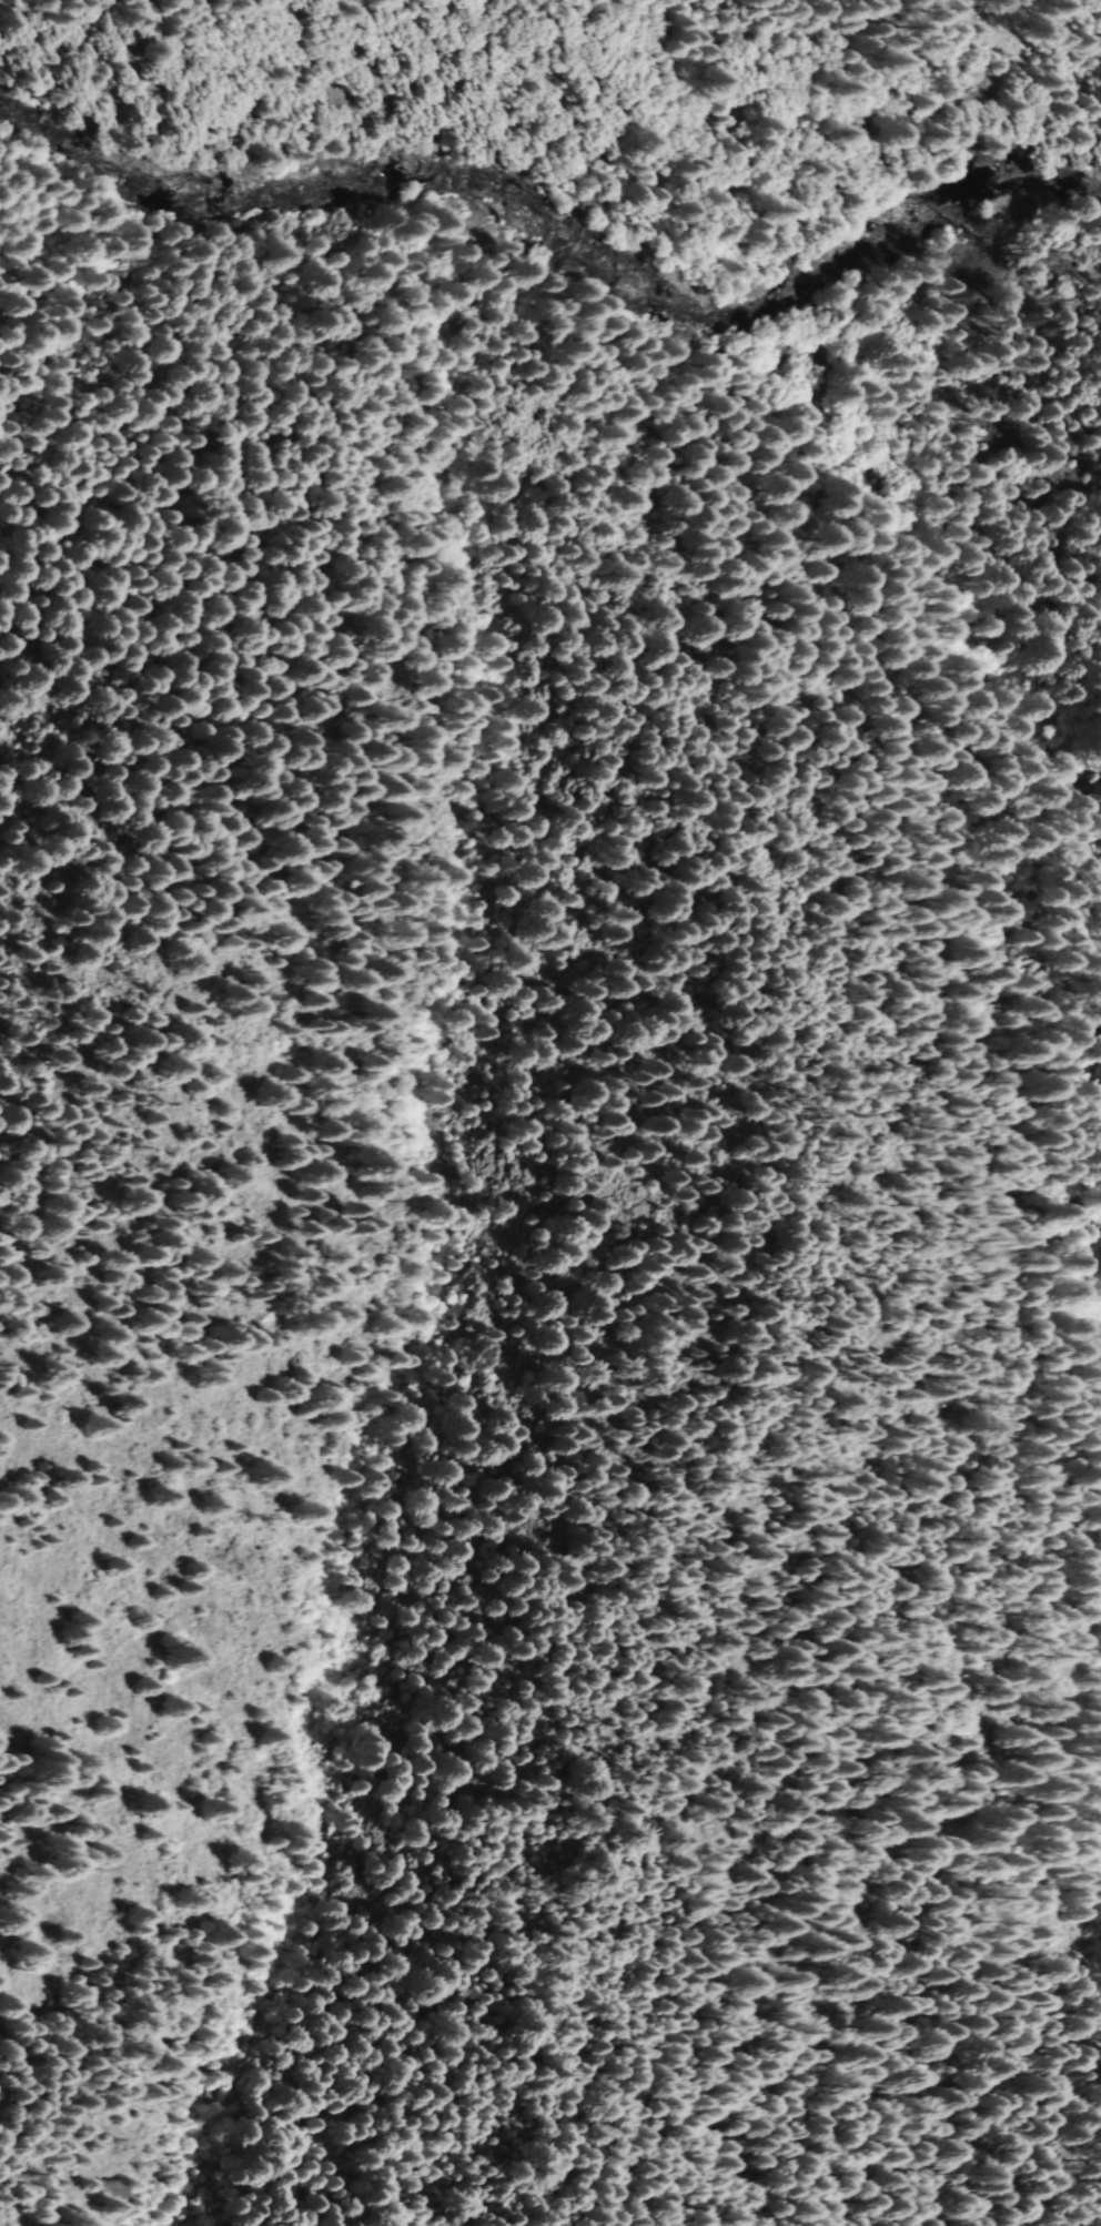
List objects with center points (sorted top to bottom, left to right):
road: (958, 28)
road: (990, 88)
road: (789, 98)
road: (703, 222)
river: (572, 237)

